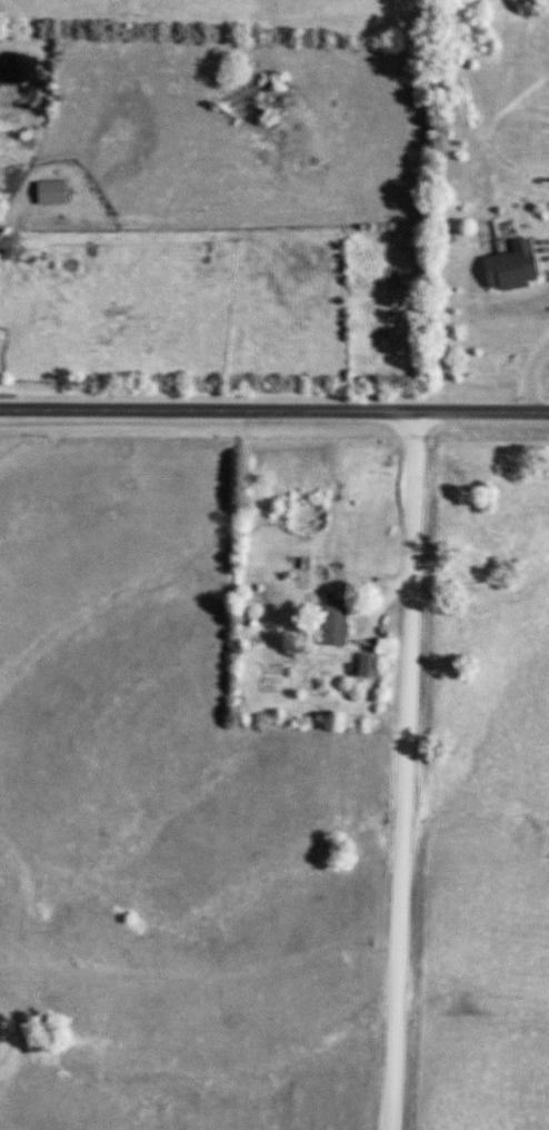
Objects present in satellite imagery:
building: (513, 267)
road: (531, 371)
road: (274, 412)
building: (336, 625)
building: (368, 666)
road: (401, 772)

